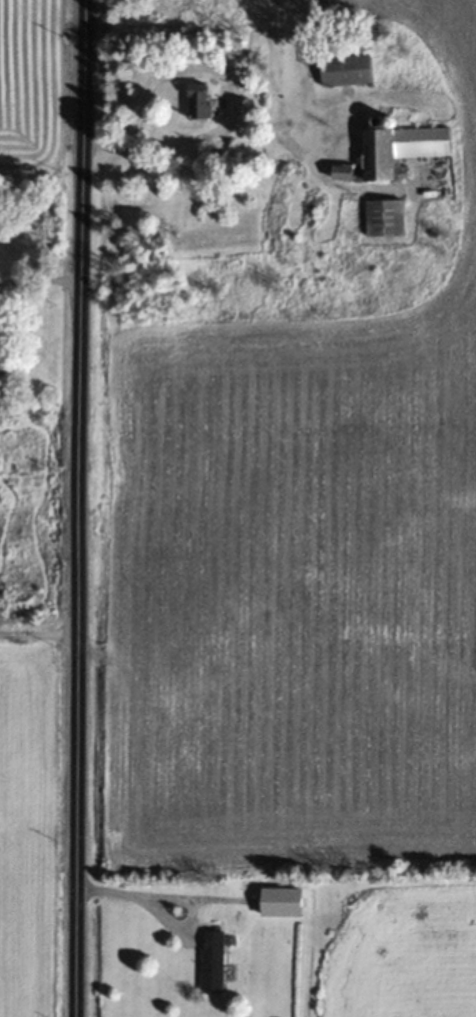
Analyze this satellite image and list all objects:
building: (343, 69)
building: (197, 99)
road: (226, 99)
building: (398, 148)
building: (382, 217)
road: (40, 281)
road: (78, 508)
road: (147, 890)
building: (278, 901)
building: (210, 961)

